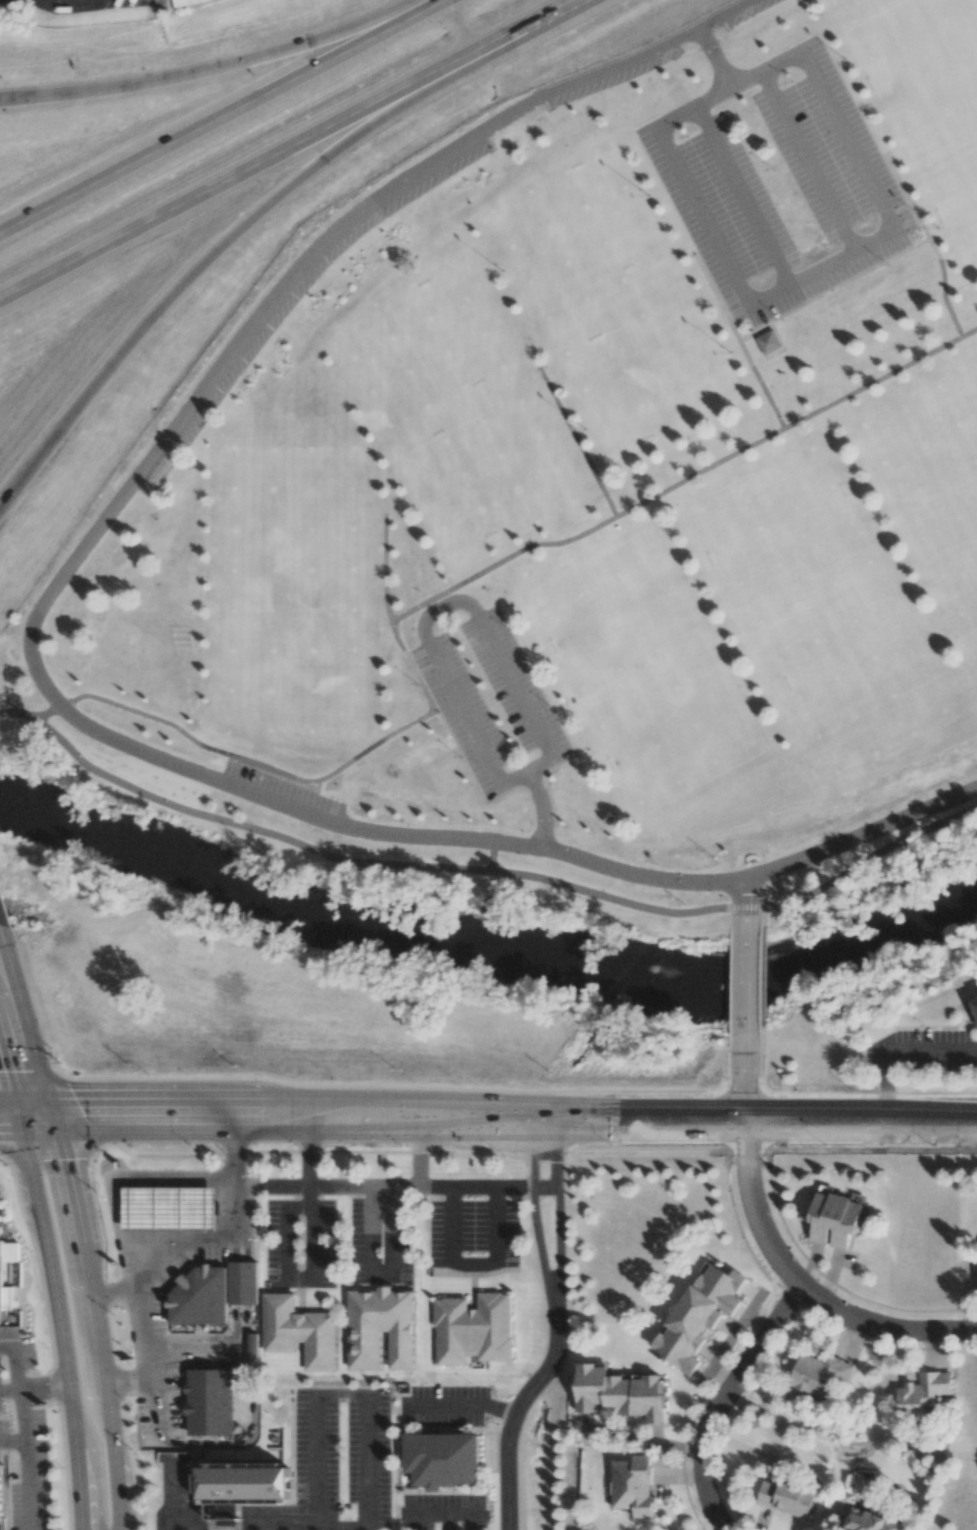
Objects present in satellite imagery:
building: (179, 1)
road: (62, 4)
parking lot: (728, 8)
road: (551, 13)
road: (461, 26)
road: (218, 67)
parking lot: (610, 69)
road: (766, 69)
park: (931, 100)
road: (220, 115)
road: (262, 162)
parking lot: (777, 183)
road: (233, 233)
road: (923, 235)
road: (743, 287)
park: (618, 318)
parking lot: (268, 321)
road: (734, 332)
building: (768, 342)
park: (459, 410)
park: (924, 434)
road: (576, 442)
road: (637, 504)
park: (767, 518)
park: (950, 548)
park: (531, 593)
road: (472, 603)
park: (294, 607)
park: (821, 623)
park: (649, 668)
road: (40, 679)
parking lot: (491, 702)
road: (18, 712)
road: (235, 755)
parking lot: (283, 792)
road: (494, 855)
road: (862, 862)
road: (376, 863)
road: (763, 895)
road: (747, 896)
river: (483, 959)
road: (762, 976)
road: (745, 985)
building: (974, 1007)
road: (895, 1050)
road: (16, 1060)
road: (760, 1080)
road: (744, 1087)
road: (16, 1119)
traffic signals: (32, 1119)
road: (504, 1120)
road: (307, 1154)
road: (419, 1155)
road: (394, 1189)
road: (54, 1209)
building: (163, 1213)
road: (558, 1216)
road: (532, 1217)
building: (835, 1218)
road: (204, 1247)
building: (10, 1252)
road: (473, 1264)
road: (374, 1272)
building: (243, 1282)
road: (800, 1290)
building: (200, 1298)
building: (5, 1302)
building: (699, 1315)
building: (380, 1329)
building: (473, 1329)
building: (299, 1331)
building: (818, 1376)
road: (57, 1388)
building: (923, 1392)
road: (345, 1393)
building: (620, 1393)
road: (716, 1400)
building: (211, 1402)
road: (462, 1405)
parking lot: (445, 1408)
road: (98, 1414)
road: (516, 1417)
road: (26, 1433)
parking lot: (318, 1454)
building: (442, 1459)
building: (242, 1481)
building: (633, 1486)
building: (0, 1497)
building: (786, 1498)
parking lot: (444, 1513)
road: (443, 1515)
building: (871, 1521)
road: (446, 1522)
road: (259, 1525)

